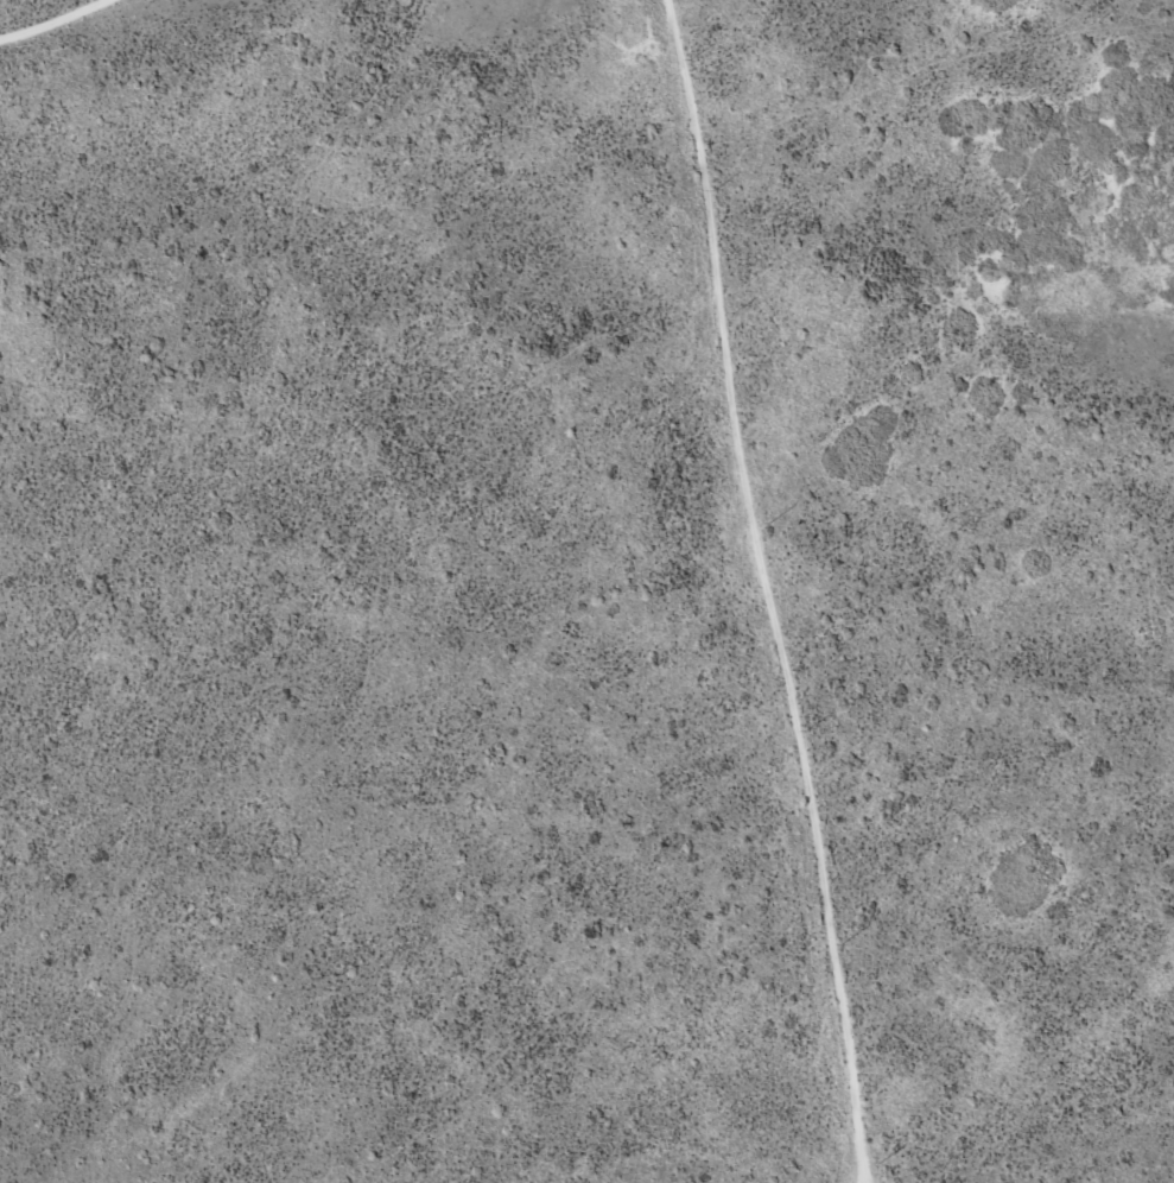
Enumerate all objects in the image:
road: (53, 21)

